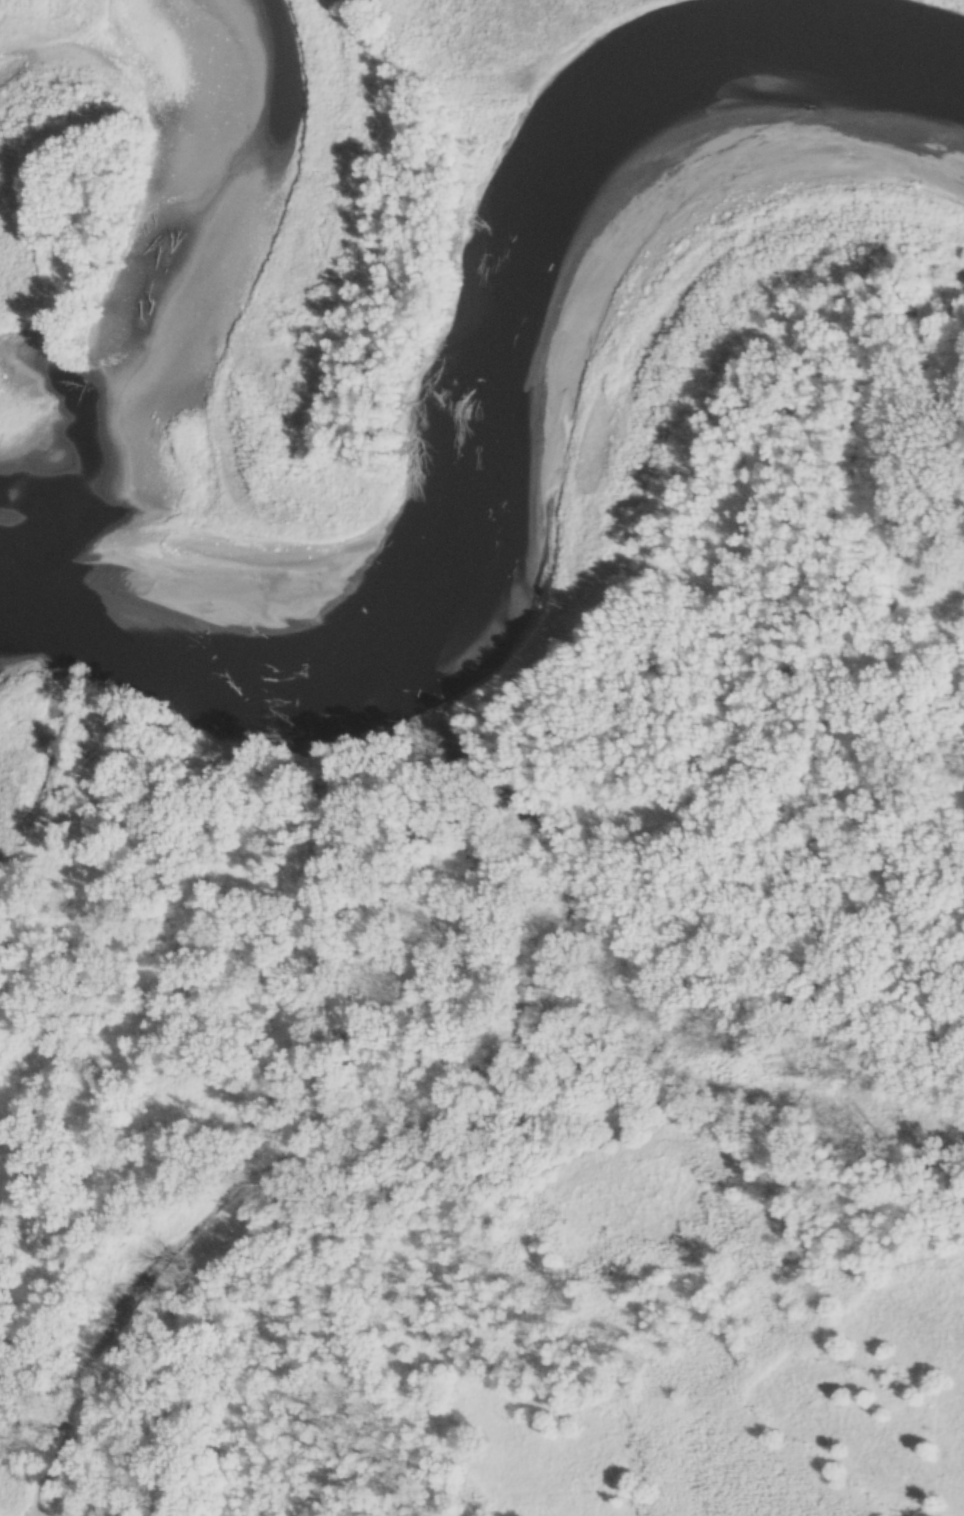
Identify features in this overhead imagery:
river: (3, 519)
river: (426, 631)

